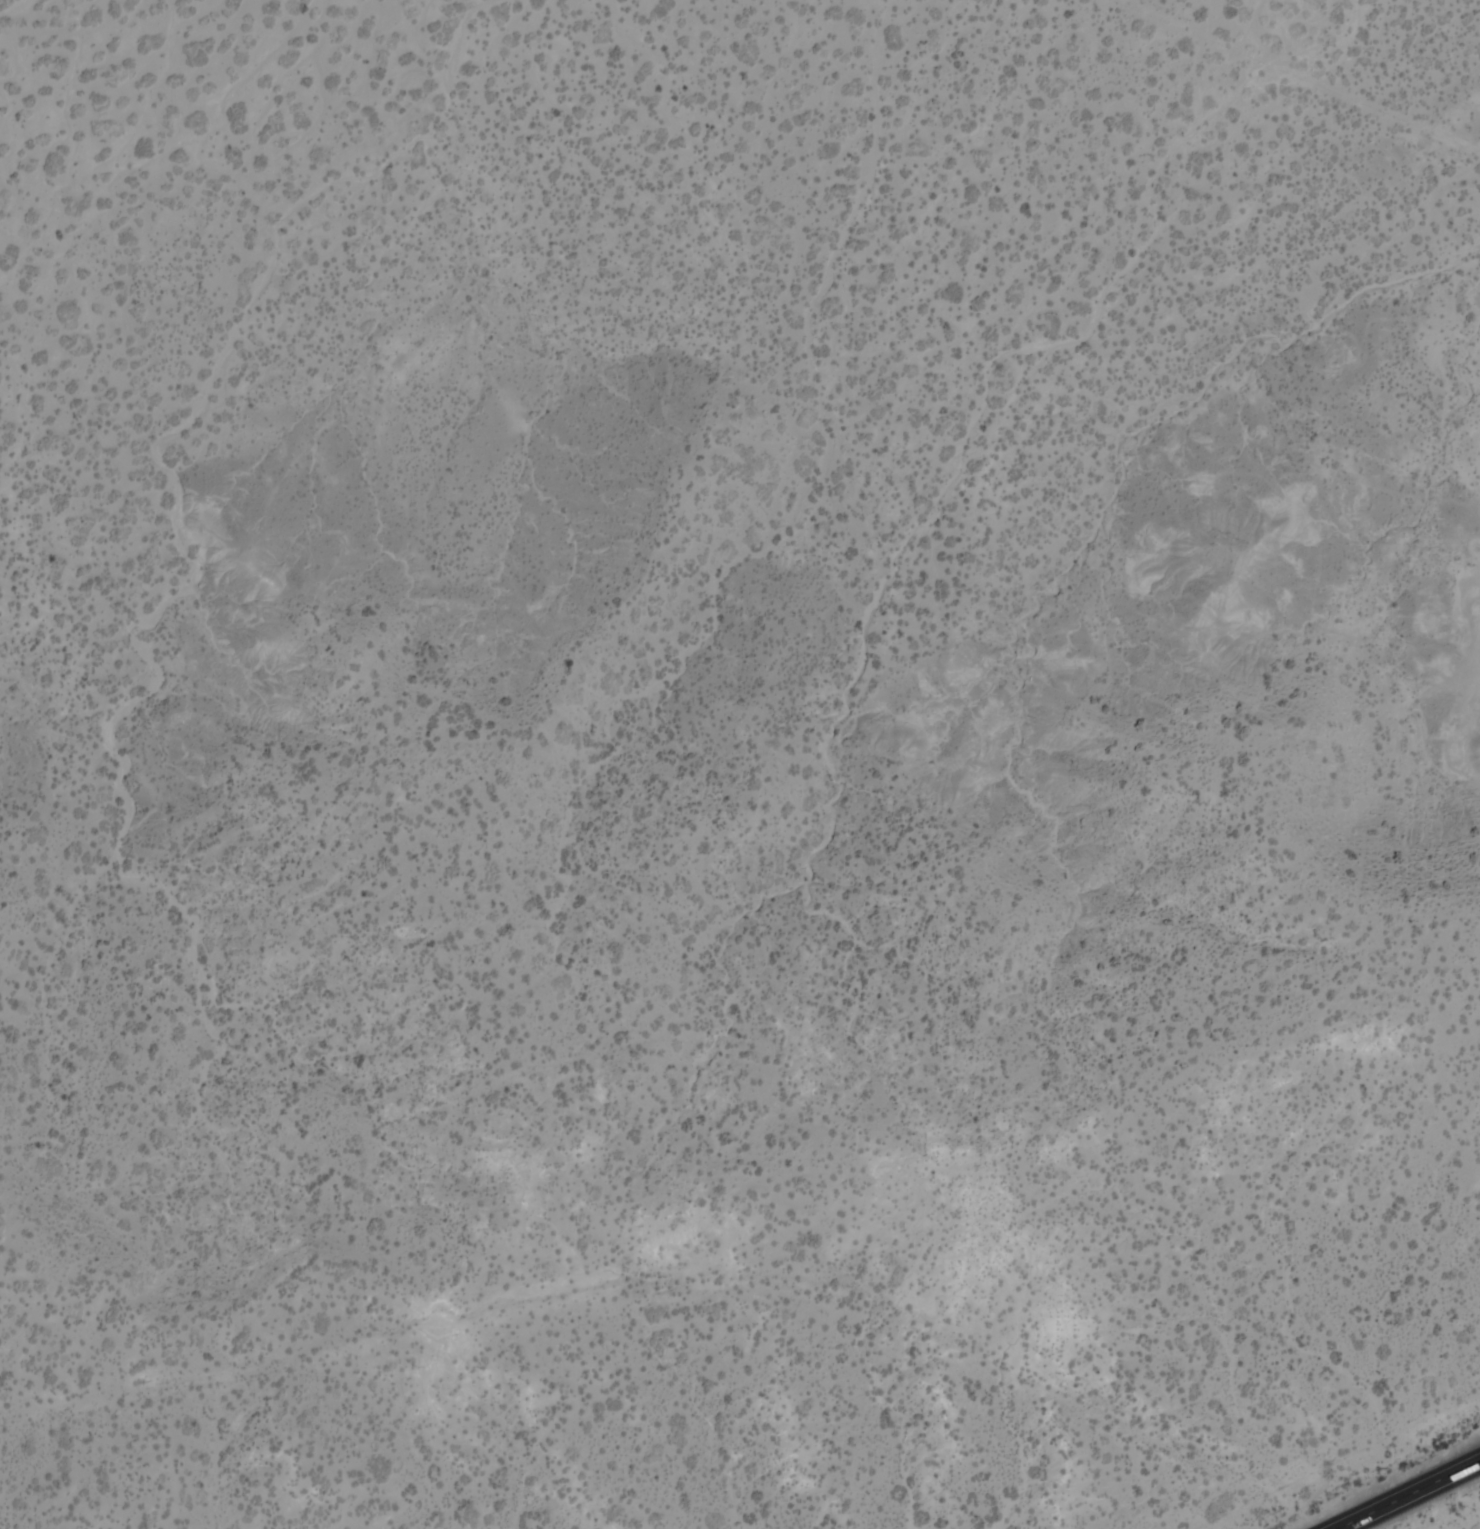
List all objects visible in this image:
airport: (1358, 51)
road: (1402, 1491)

